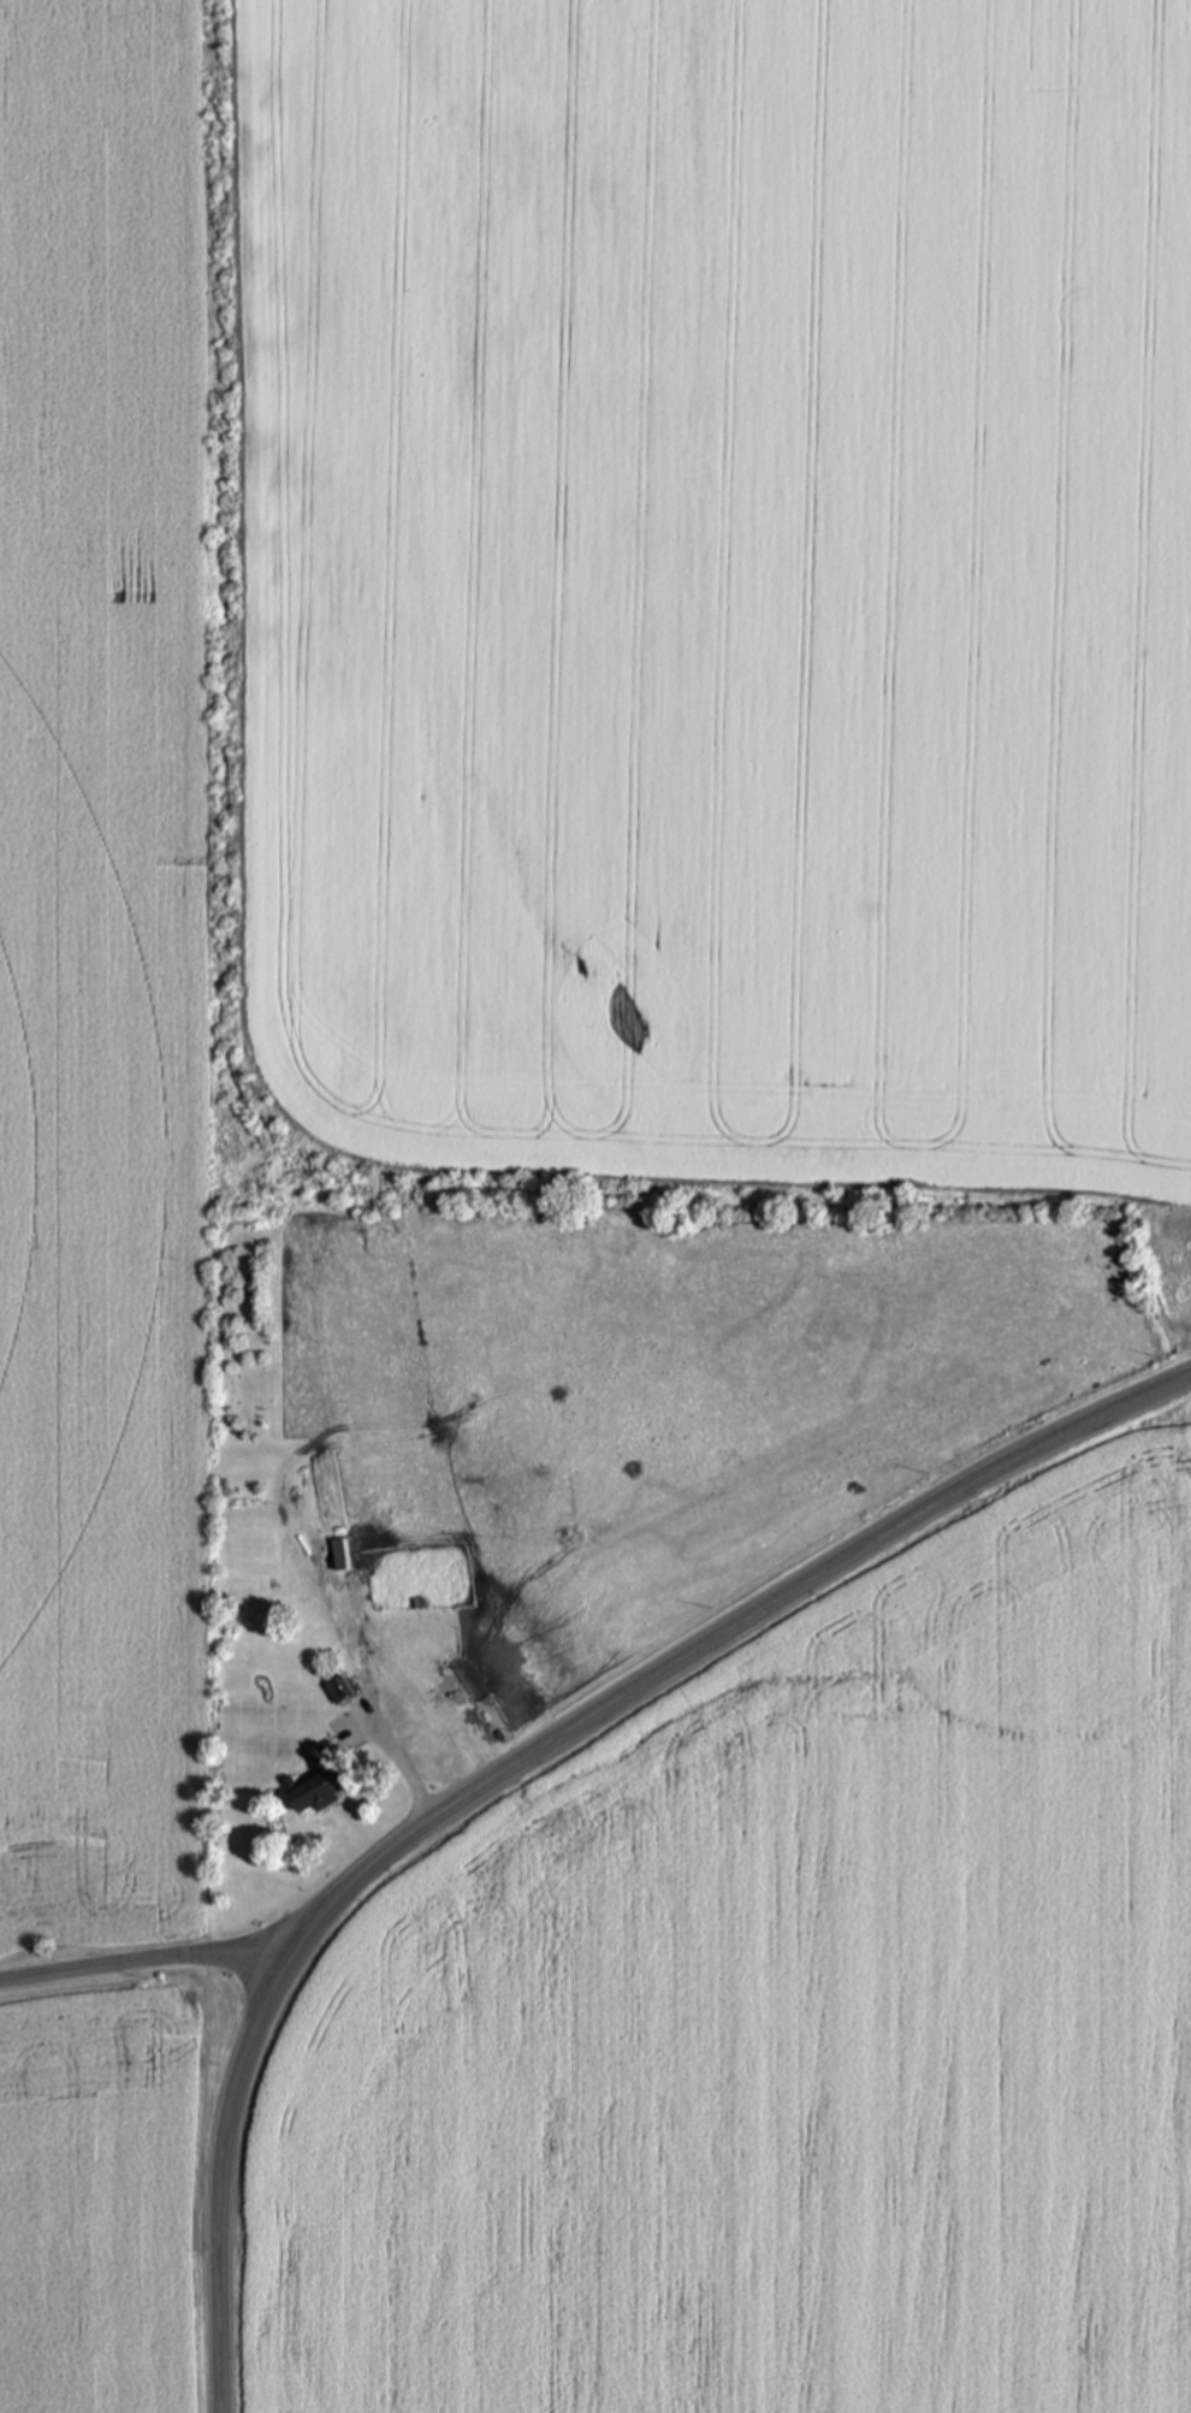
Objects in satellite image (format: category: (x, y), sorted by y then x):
building: (339, 1557)
building: (338, 1691)
road: (398, 1756)
road: (523, 1764)
building: (318, 1786)
road: (152, 1974)

